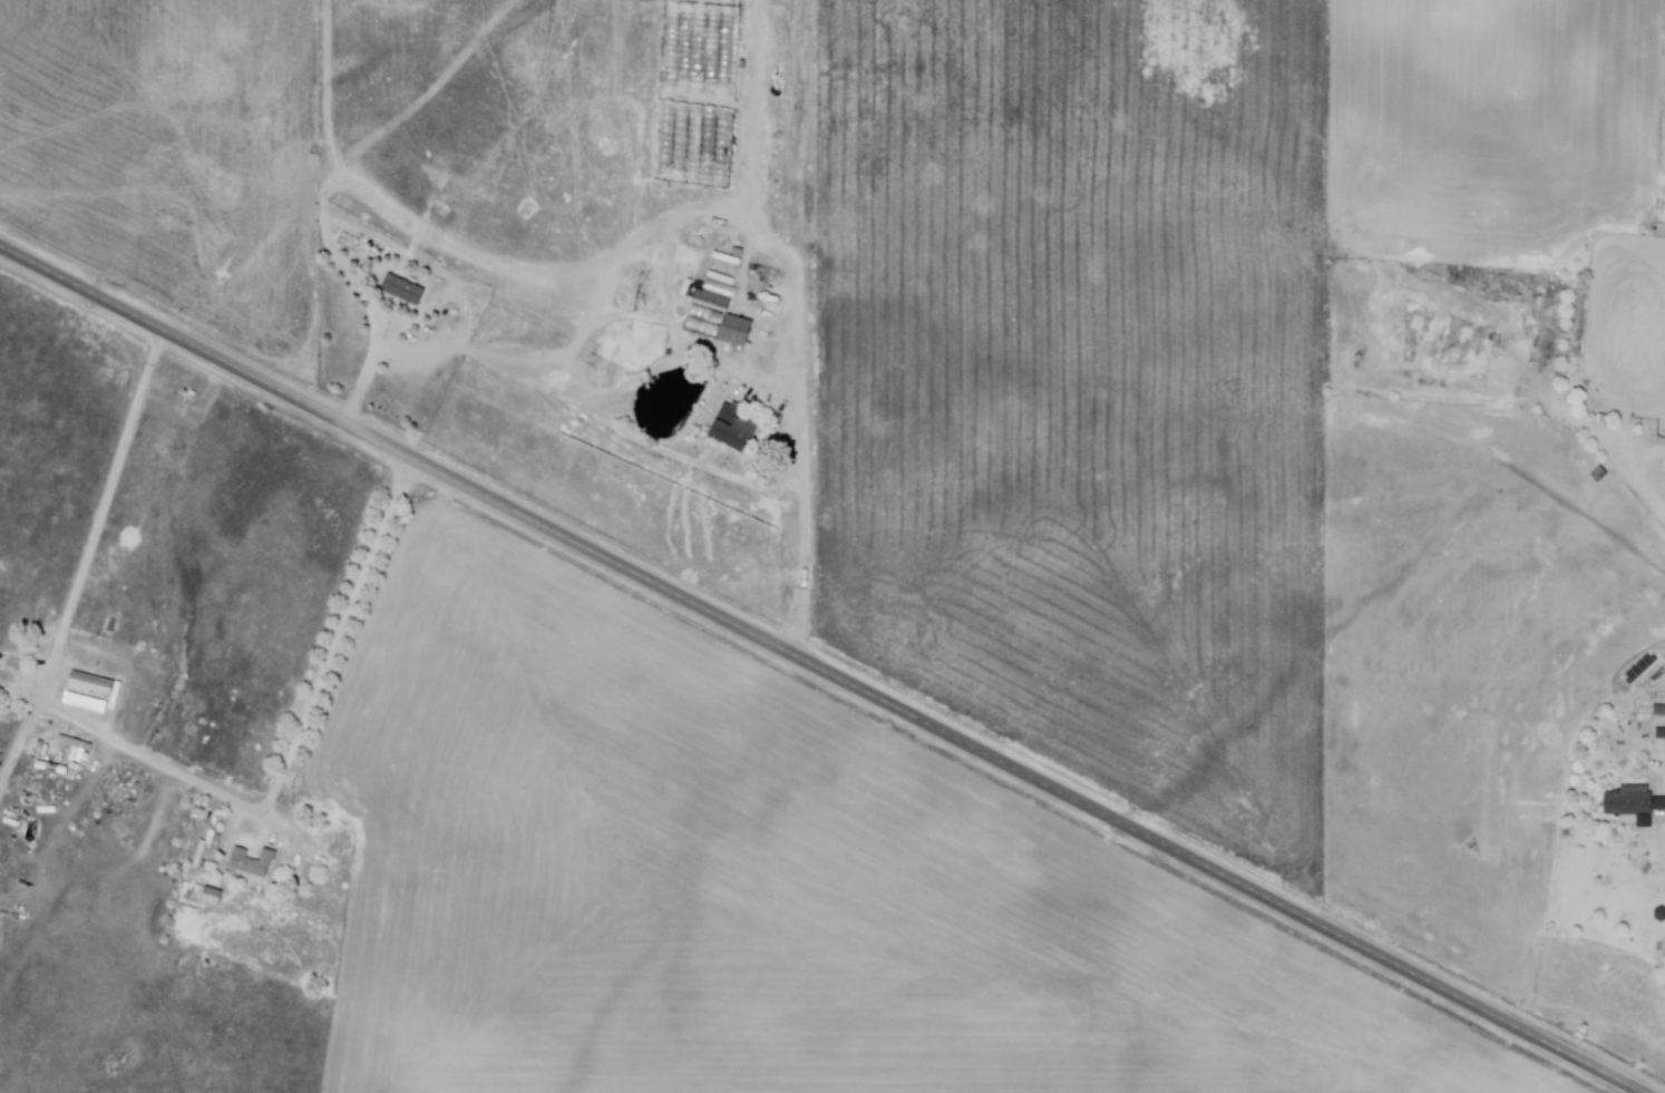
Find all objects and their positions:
building: (405, 292)
building: (727, 321)
road: (369, 374)
building: (738, 427)
road: (805, 517)
road: (61, 632)
road: (822, 666)
building: (91, 689)
building: (1659, 710)
building: (71, 754)
building: (1634, 803)
building: (254, 866)
building: (213, 899)

